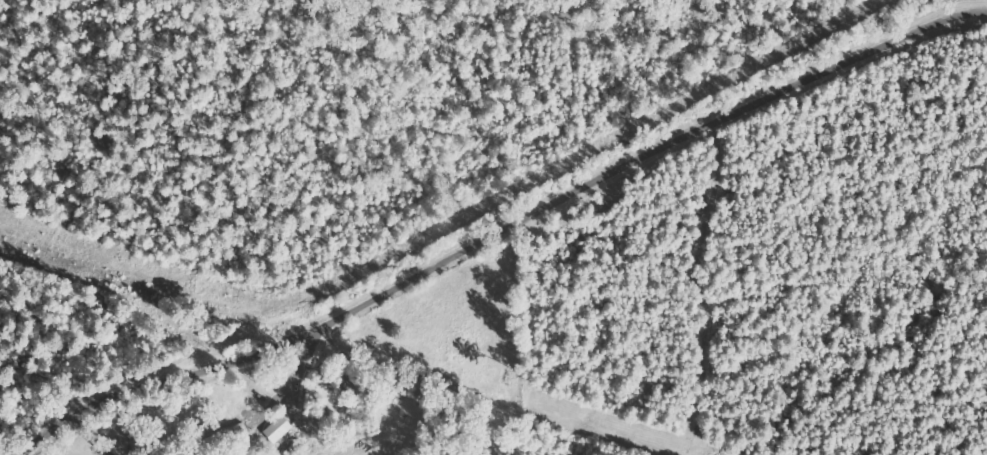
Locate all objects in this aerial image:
road: (513, 231)
building: (282, 430)

